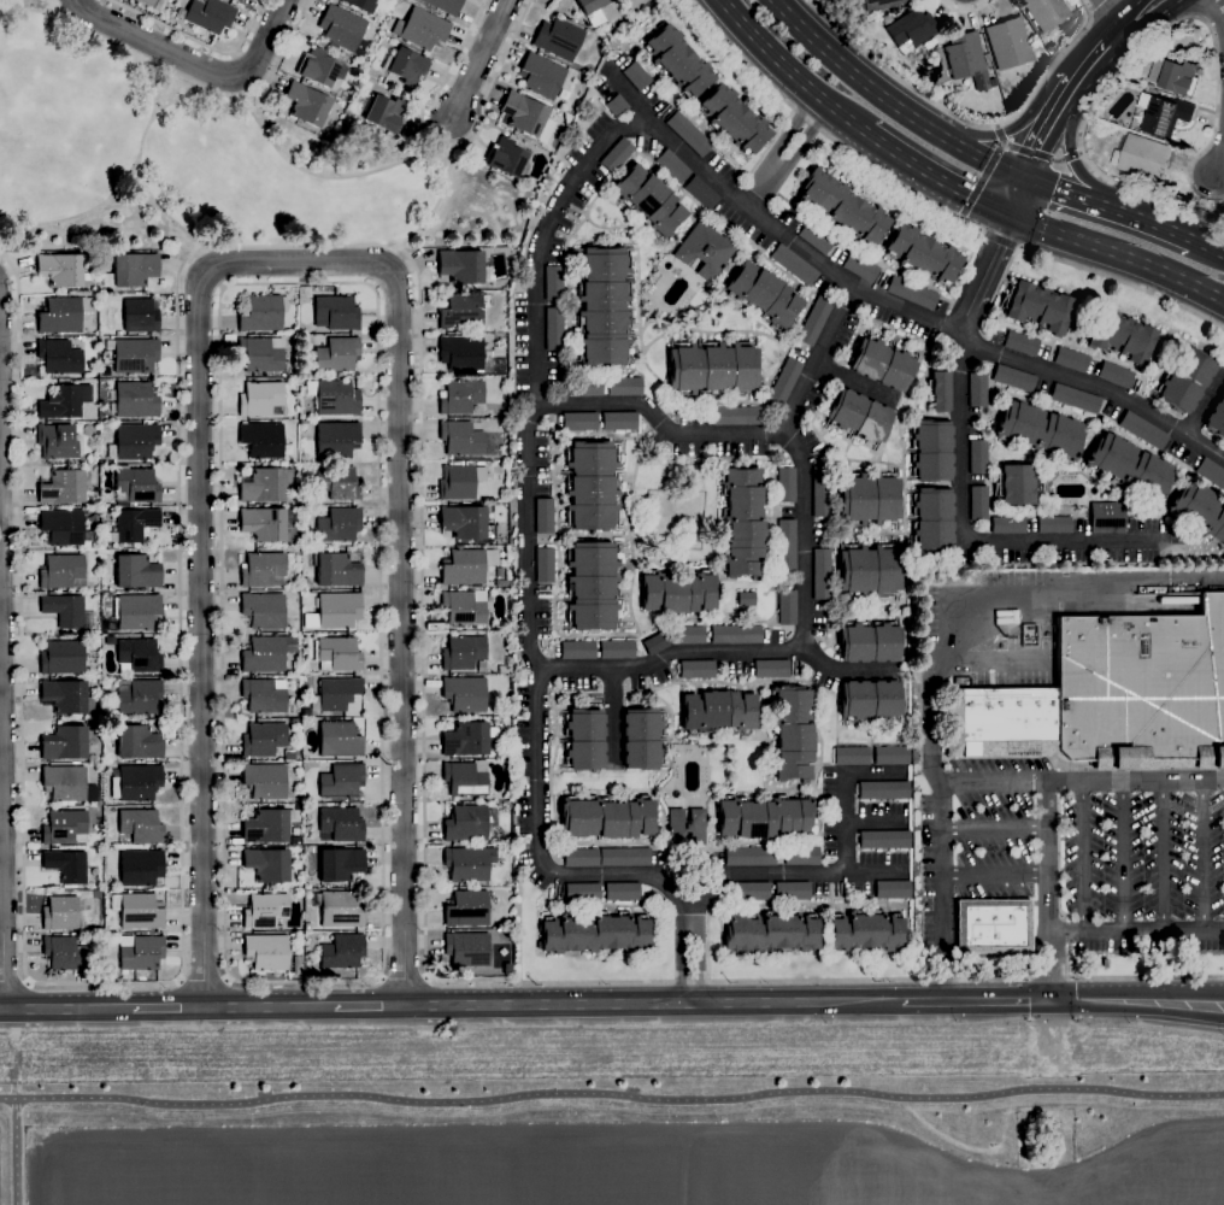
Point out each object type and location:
building: (239, 0)
building: (1019, 0)
building: (148, 1)
building: (882, 4)
building: (160, 5)
building: (366, 5)
building: (445, 5)
road: (1096, 7)
road: (35, 8)
building: (593, 10)
road: (966, 10)
road: (1114, 11)
building: (1048, 12)
building: (208, 14)
road: (1218, 14)
building: (887, 18)
building: (861, 19)
road: (1128, 20)
building: (422, 28)
building: (343, 29)
building: (911, 29)
building: (558, 39)
road: (199, 41)
building: (1008, 42)
road: (1142, 52)
building: (964, 54)
road: (481, 58)
building: (678, 60)
road: (1087, 61)
road: (196, 64)
building: (408, 66)
building: (318, 67)
road: (792, 71)
building: (541, 75)
building: (636, 75)
building: (1175, 76)
road: (196, 82)
road: (189, 93)
building: (565, 94)
building: (1006, 94)
road: (889, 100)
building: (306, 104)
building: (616, 105)
building: (386, 113)
building: (528, 116)
building: (1164, 116)
building: (734, 118)
road: (965, 119)
road: (998, 127)
road: (1016, 127)
road: (823, 129)
road: (1044, 129)
building: (688, 133)
road: (449, 146)
road: (1067, 151)
road: (784, 153)
road: (1079, 153)
building: (617, 154)
road: (1040, 155)
building: (505, 157)
building: (1141, 158)
park: (207, 160)
road: (1219, 163)
building: (672, 165)
road: (136, 171)
road: (987, 171)
road: (330, 176)
road: (937, 177)
traffic signals: (1022, 180)
building: (701, 193)
road: (1064, 194)
road: (1016, 198)
building: (648, 200)
road: (135, 201)
building: (842, 206)
road: (429, 214)
road: (961, 216)
traffic signals: (1010, 216)
road: (173, 217)
road: (548, 219)
road: (1149, 224)
building: (816, 237)
road: (999, 240)
road: (1020, 247)
building: (705, 248)
road: (1207, 248)
road: (808, 253)
building: (924, 253)
road: (1118, 253)
road: (298, 261)
road: (1070, 263)
building: (794, 264)
building: (461, 265)
building: (861, 266)
building: (61, 269)
building: (133, 270)
road: (984, 277)
building: (554, 282)
road: (223, 287)
building: (912, 292)
building: (764, 294)
building: (604, 305)
building: (1038, 306)
building: (463, 311)
building: (336, 312)
building: (63, 313)
building: (260, 313)
building: (140, 316)
building: (814, 319)
building: (554, 328)
building: (1123, 336)
building: (1020, 342)
building: (461, 352)
building: (337, 353)
building: (134, 354)
building: (260, 354)
building: (59, 357)
building: (1071, 359)
building: (883, 363)
building: (713, 368)
building: (106, 371)
building: (1116, 374)
building: (1013, 377)
building: (1185, 378)
road: (853, 380)
building: (784, 382)
building: (585, 386)
building: (624, 386)
road: (1095, 387)
building: (977, 388)
building: (938, 390)
building: (461, 395)
building: (260, 398)
building: (1075, 398)
building: (336, 399)
building: (135, 400)
building: (61, 402)
road: (549, 404)
building: (738, 415)
building: (859, 416)
building: (1217, 416)
building: (619, 419)
building: (302, 421)
building: (579, 421)
building: (1038, 429)
building: (1143, 429)
building: (461, 437)
building: (337, 439)
building: (136, 440)
building: (263, 440)
building: (57, 441)
building: (932, 449)
building: (505, 454)
building: (978, 457)
building: (1130, 465)
building: (1211, 472)
road: (963, 475)
building: (460, 481)
building: (339, 482)
building: (265, 483)
building: (1017, 483)
building: (135, 484)
building: (592, 484)
building: (787, 484)
building: (64, 486)
building: (822, 490)
building: (867, 499)
building: (502, 500)
building: (978, 502)
building: (108, 510)
building: (1200, 510)
building: (545, 515)
building: (1107, 517)
building: (932, 518)
building: (466, 522)
building: (743, 522)
building: (136, 523)
building: (264, 523)
building: (339, 524)
building: (1008, 524)
building: (1054, 524)
building: (64, 527)
building: (787, 543)
building: (545, 564)
building: (467, 565)
building: (264, 569)
building: (337, 569)
building: (869, 570)
building: (63, 571)
building: (136, 571)
building: (822, 574)
road: (180, 581)
building: (305, 583)
building: (502, 583)
building: (593, 584)
building: (678, 592)
building: (747, 598)
building: (788, 606)
building: (464, 607)
building: (65, 610)
building: (264, 610)
building: (135, 611)
building: (335, 611)
road: (1016, 617)
building: (736, 633)
building: (688, 634)
building: (870, 641)
building: (653, 642)
building: (617, 648)
building: (577, 649)
building: (267, 652)
building: (463, 652)
building: (340, 653)
building: (139, 656)
building: (63, 657)
road: (989, 659)
building: (771, 668)
building: (698, 669)
road: (847, 670)
building: (1142, 688)
building: (337, 692)
building: (464, 693)
building: (139, 695)
building: (264, 695)
building: (66, 696)
building: (870, 699)
building: (719, 711)
road: (614, 717)
building: (296, 721)
building: (1000, 721)
building: (793, 731)
building: (467, 737)
building: (642, 737)
building: (264, 739)
building: (339, 739)
building: (584, 739)
building: (140, 741)
building: (66, 742)
road: (2, 753)
building: (289, 754)
building: (891, 754)
building: (852, 756)
building: (466, 777)
building: (265, 780)
building: (341, 780)
road: (1081, 780)
building: (64, 782)
building: (136, 782)
building: (882, 789)
building: (265, 804)
building: (765, 816)
building: (607, 817)
building: (466, 823)
building: (340, 824)
building: (141, 825)
building: (267, 825)
building: (65, 827)
building: (687, 827)
road: (995, 828)
building: (884, 839)
parking lot: (1084, 850)
building: (802, 854)
building: (624, 856)
building: (751, 856)
building: (581, 857)
road: (1082, 857)
road: (1163, 857)
road: (1202, 857)
road: (1124, 858)
building: (470, 862)
building: (341, 863)
building: (267, 864)
building: (66, 865)
building: (140, 866)
road: (841, 874)
road: (995, 874)
building: (793, 889)
building: (894, 889)
road: (1048, 889)
building: (582, 890)
building: (623, 890)
building: (753, 890)
road: (942, 892)
building: (466, 907)
building: (341, 909)
building: (139, 910)
building: (263, 910)
building: (60, 912)
building: (993, 925)
building: (279, 927)
building: (866, 930)
building: (770, 931)
building: (594, 933)
road: (1135, 934)
building: (466, 950)
building: (266, 951)
building: (342, 951)
building: (65, 953)
building: (140, 953)
building: (1105, 963)
building: (298, 964)
building: (507, 972)
road: (404, 977)
road: (204, 978)
road: (825, 980)
road: (14, 981)
road: (1136, 992)
road: (976, 1000)
road: (655, 1004)
road: (270, 1006)
road: (371, 1006)
road: (169, 1007)
road: (70, 1009)
road: (1136, 1009)
road: (4, 1010)
road: (612, 1099)
park: (618, 1117)
road: (19, 1154)

